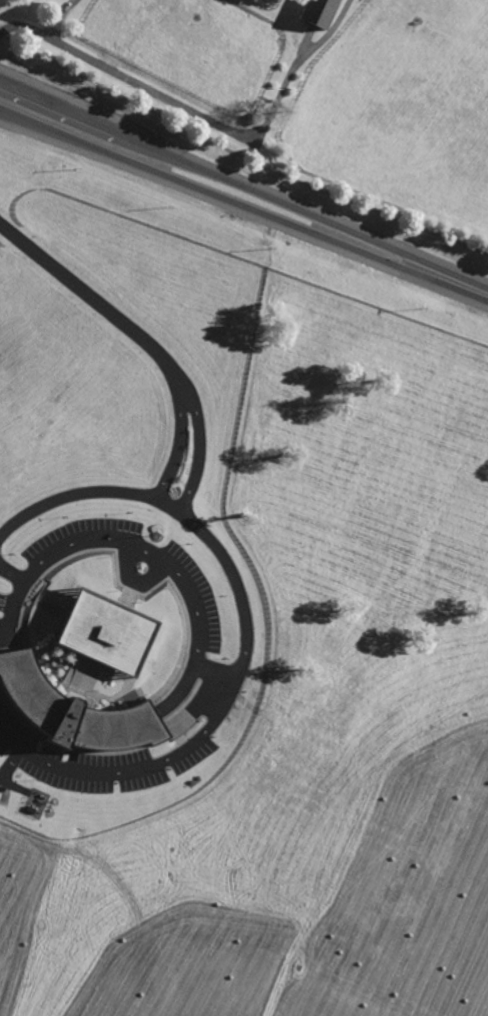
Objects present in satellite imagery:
building: (317, 12)
road: (203, 116)
road: (243, 186)
road: (243, 211)
road: (84, 294)
road: (170, 372)
road: (152, 553)
building: (101, 632)
road: (244, 634)
building: (70, 712)
crop: (312, 717)
building: (30, 810)

